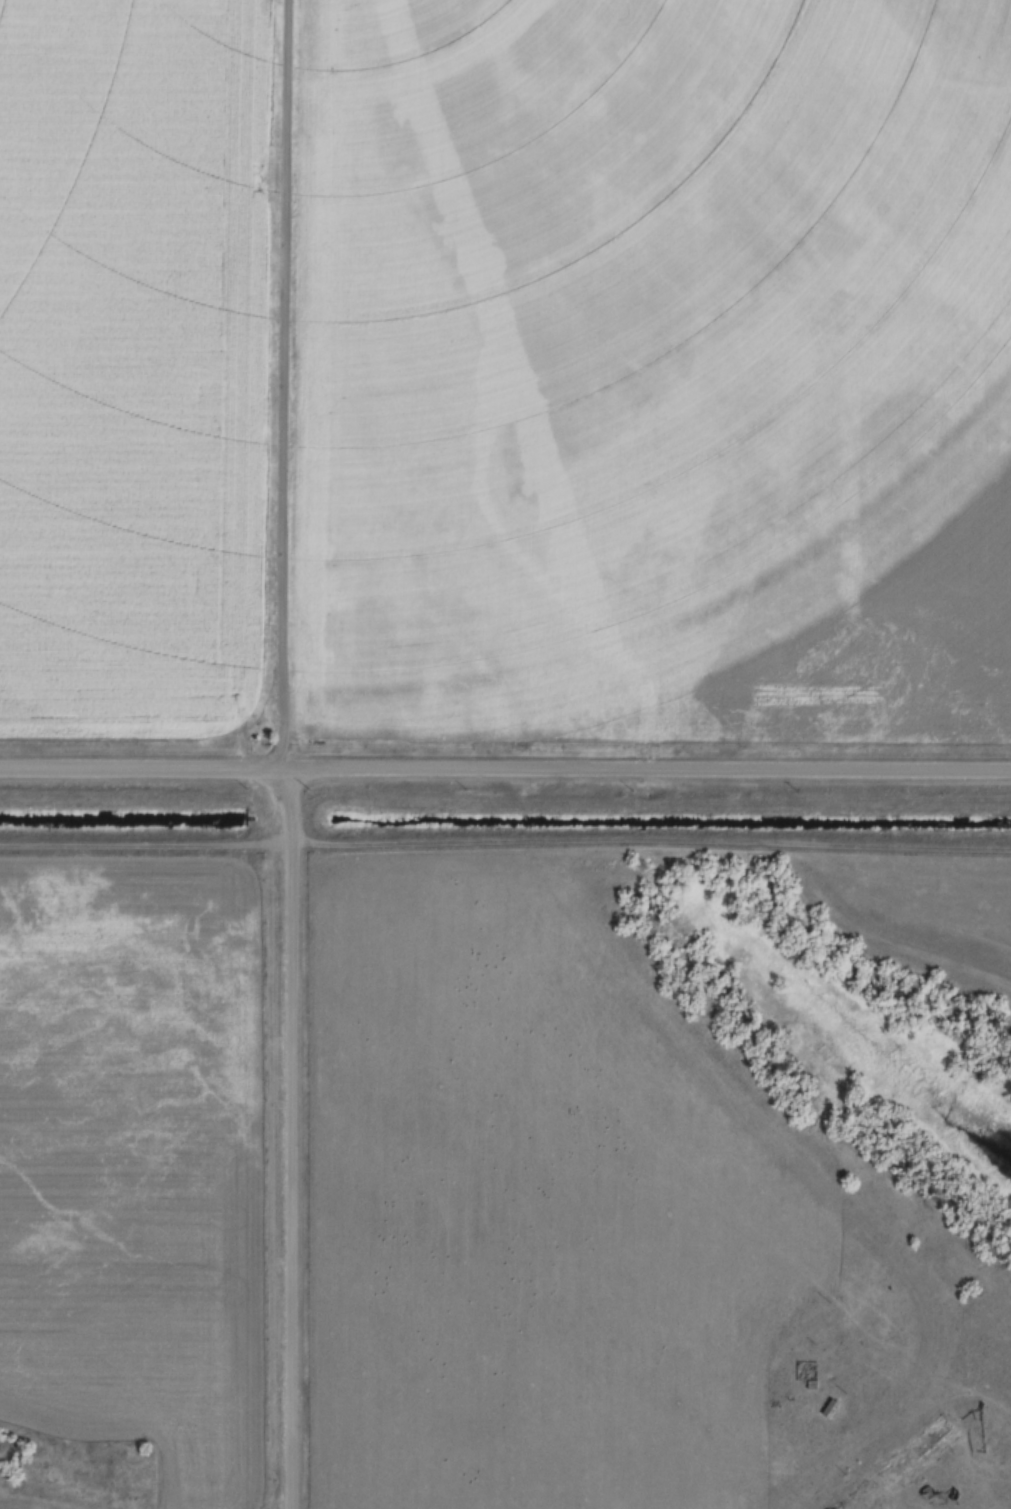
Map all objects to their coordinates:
road: (290, 387)
road: (505, 774)
road: (290, 1141)
building: (944, 1435)
building: (907, 1457)

